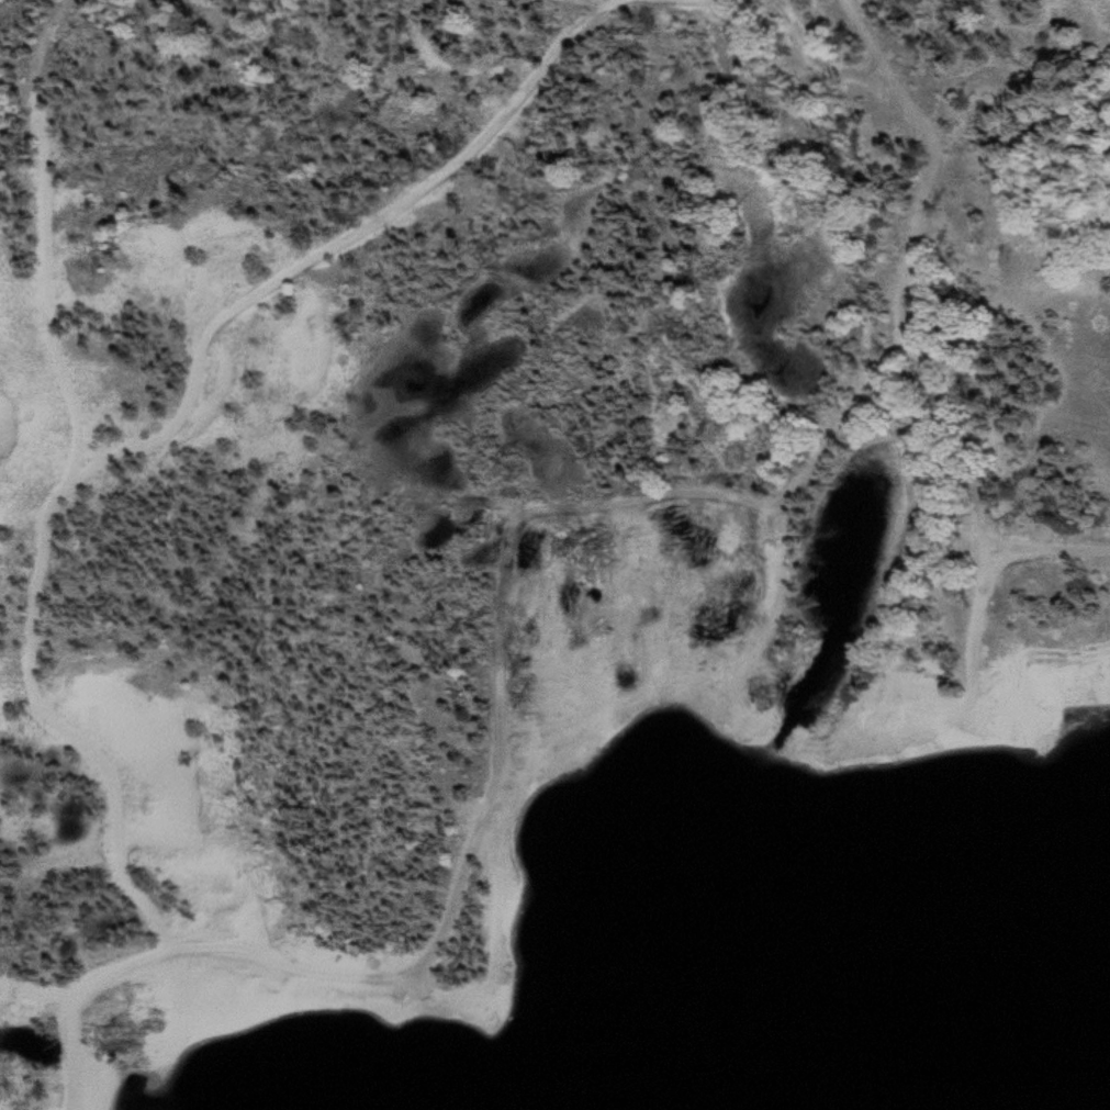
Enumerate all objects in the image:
park: (554, 554)

